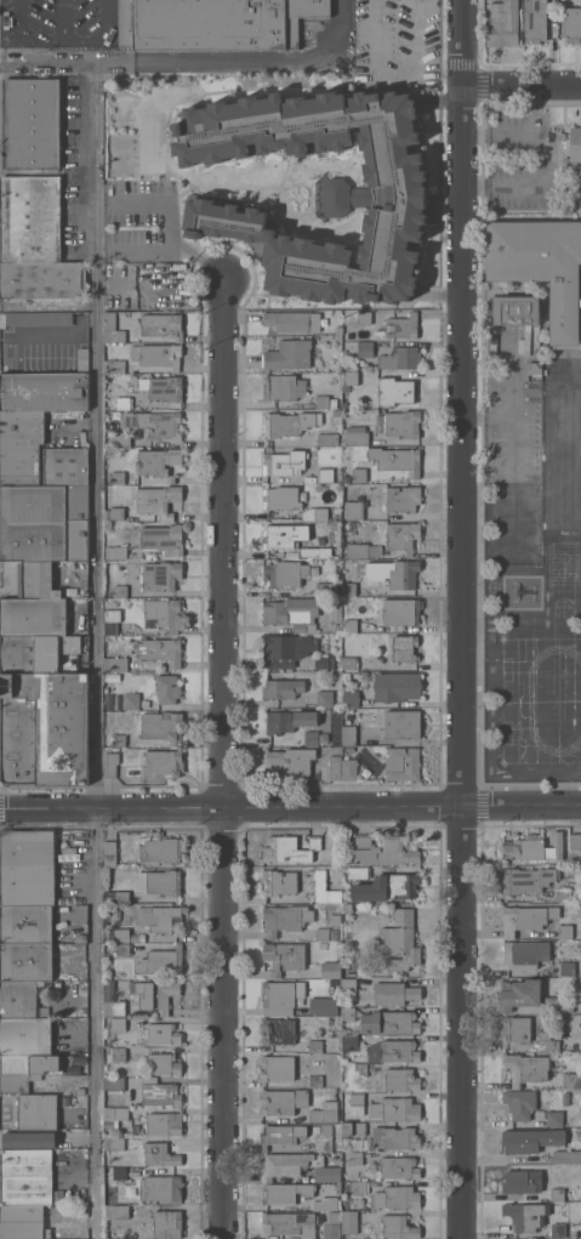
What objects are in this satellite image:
building: (535, 21)
building: (213, 23)
building: (502, 23)
building: (571, 24)
road: (106, 36)
road: (46, 39)
road: (240, 61)
road: (519, 87)
building: (30, 124)
building: (574, 149)
building: (374, 198)
building: (29, 218)
building: (541, 268)
building: (42, 280)
road: (47, 305)
building: (513, 309)
building: (363, 317)
building: (35, 318)
building: (292, 322)
building: (159, 325)
building: (399, 328)
building: (112, 329)
building: (338, 330)
building: (364, 348)
building: (287, 354)
building: (156, 356)
building: (399, 358)
building: (81, 360)
building: (113, 366)
building: (534, 368)
building: (348, 380)
building: (138, 386)
building: (284, 387)
building: (165, 388)
building: (44, 391)
building: (394, 391)
building: (324, 402)
building: (123, 403)
building: (559, 409)
building: (336, 413)
building: (287, 424)
building: (401, 424)
building: (153, 425)
building: (353, 436)
building: (559, 438)
building: (326, 439)
building: (119, 441)
building: (19, 447)
building: (395, 460)
building: (158, 462)
building: (284, 462)
building: (562, 464)
building: (65, 466)
building: (358, 474)
building: (324, 476)
building: (116, 477)
building: (562, 496)
building: (280, 499)
building: (401, 499)
building: (158, 501)
building: (354, 511)
building: (113, 513)
building: (314, 515)
building: (562, 518)
building: (44, 522)
building: (522, 532)
building: (401, 536)
building: (164, 539)
building: (281, 539)
building: (357, 550)
building: (115, 552)
building: (315, 552)
building: (119, 572)
building: (286, 573)
building: (405, 575)
building: (159, 576)
building: (38, 580)
building: (325, 590)
building: (348, 590)
building: (119, 591)
road: (93, 602)
building: (400, 612)
building: (291, 613)
building: (161, 614)
building: (32, 616)
road: (460, 619)
building: (110, 621)
building: (349, 625)
building: (286, 648)
building: (403, 648)
building: (161, 650)
building: (36, 653)
building: (324, 663)
building: (349, 663)
building: (114, 664)
building: (346, 676)
building: (395, 686)
building: (166, 688)
building: (283, 688)
building: (324, 699)
building: (349, 699)
building: (130, 701)
building: (287, 721)
building: (401, 724)
building: (161, 727)
building: (42, 728)
building: (348, 735)
building: (317, 738)
building: (118, 740)
building: (348, 748)
road: (222, 757)
building: (291, 761)
building: (163, 763)
building: (401, 763)
building: (109, 765)
building: (335, 768)
building: (348, 769)
building: (559, 772)
road: (290, 807)
building: (575, 841)
building: (532, 847)
building: (291, 848)
building: (160, 851)
building: (383, 851)
building: (109, 853)
building: (573, 859)
building: (27, 868)
building: (357, 873)
building: (526, 880)
building: (159, 882)
building: (277, 882)
building: (387, 887)
building: (324, 890)
building: (562, 894)
building: (115, 897)
building: (577, 897)
building: (346, 908)
building: (159, 919)
building: (285, 919)
building: (332, 919)
building: (525, 919)
building: (25, 923)
building: (564, 931)
building: (121, 934)
building: (321, 934)
building: (334, 934)
building: (80, 938)
building: (399, 942)
building: (121, 949)
building: (523, 954)
building: (283, 956)
building: (25, 961)
building: (160, 962)
building: (565, 968)
building: (330, 970)
building: (106, 974)
building: (347, 984)
building: (394, 993)
building: (518, 994)
building: (154, 995)
building: (280, 996)
building: (25, 998)
building: (112, 1001)
building: (557, 1004)
building: (323, 1005)
building: (348, 1013)
building: (388, 1022)
building: (120, 1024)
building: (514, 1029)
building: (278, 1031)
building: (164, 1034)
building: (25, 1036)
building: (348, 1042)
building: (314, 1046)
building: (551, 1046)
building: (393, 1051)
building: (114, 1053)
building: (163, 1063)
building: (30, 1064)
building: (281, 1067)
building: (525, 1068)
building: (359, 1070)
building: (401, 1080)
building: (570, 1080)
building: (17, 1081)
building: (314, 1081)
building: (112, 1084)
building: (80, 1091)
building: (159, 1092)
building: (564, 1098)
building: (283, 1102)
building: (355, 1103)
building: (519, 1103)
building: (394, 1110)
building: (36, 1112)
building: (115, 1113)
building: (324, 1113)
building: (554, 1119)
building: (164, 1124)
building: (353, 1129)
building: (281, 1135)
building: (324, 1138)
building: (395, 1138)
building: (28, 1139)
building: (530, 1139)
building: (113, 1143)
building: (159, 1155)
building: (566, 1156)
building: (354, 1159)
building: (287, 1164)
building: (398, 1167)
building: (327, 1173)
building: (119, 1176)
building: (27, 1177)
building: (522, 1181)
building: (359, 1187)
building: (160, 1188)
building: (285, 1193)
building: (557, 1195)
building: (397, 1198)
building: (325, 1204)
building: (115, 1211)
building: (523, 1216)
building: (22, 1222)
building: (349, 1222)
building: (167, 1224)
building: (289, 1224)
building: (331, 1226)
building: (398, 1227)
building: (558, 1231)

